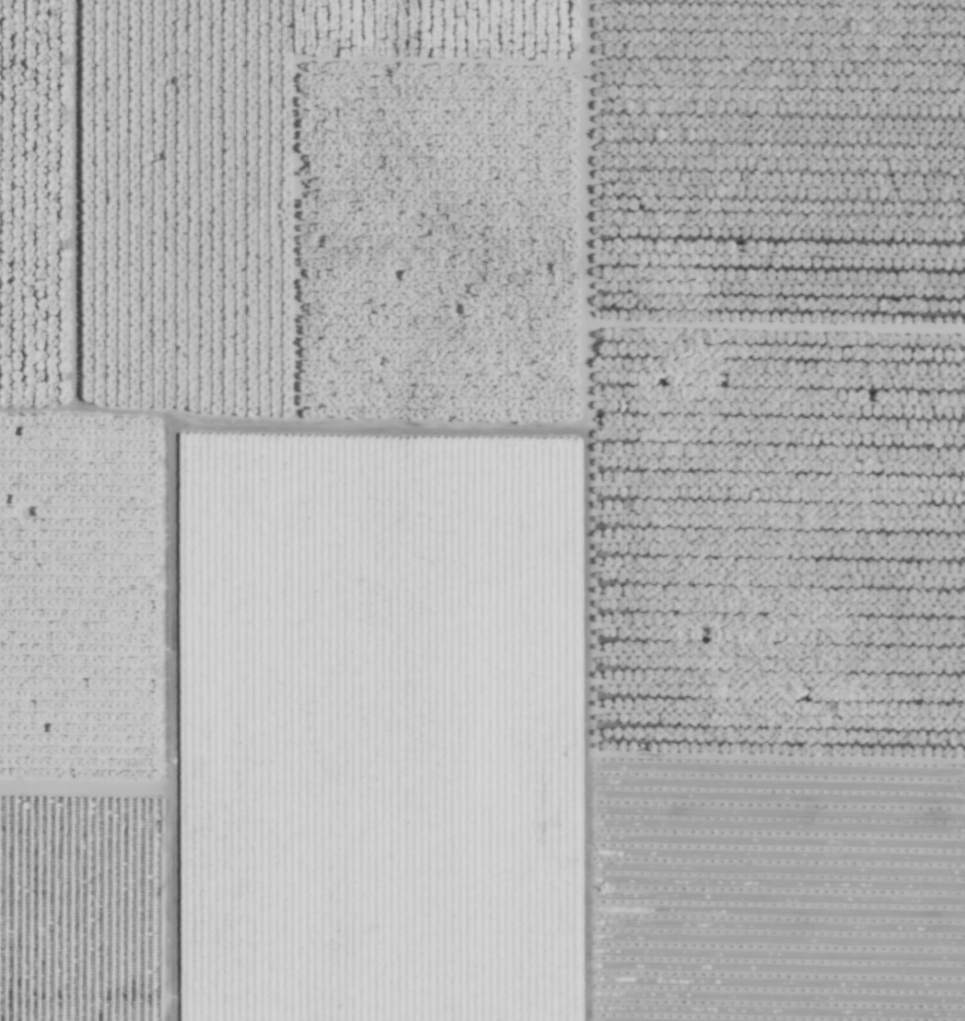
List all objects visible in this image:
road: (586, 510)

